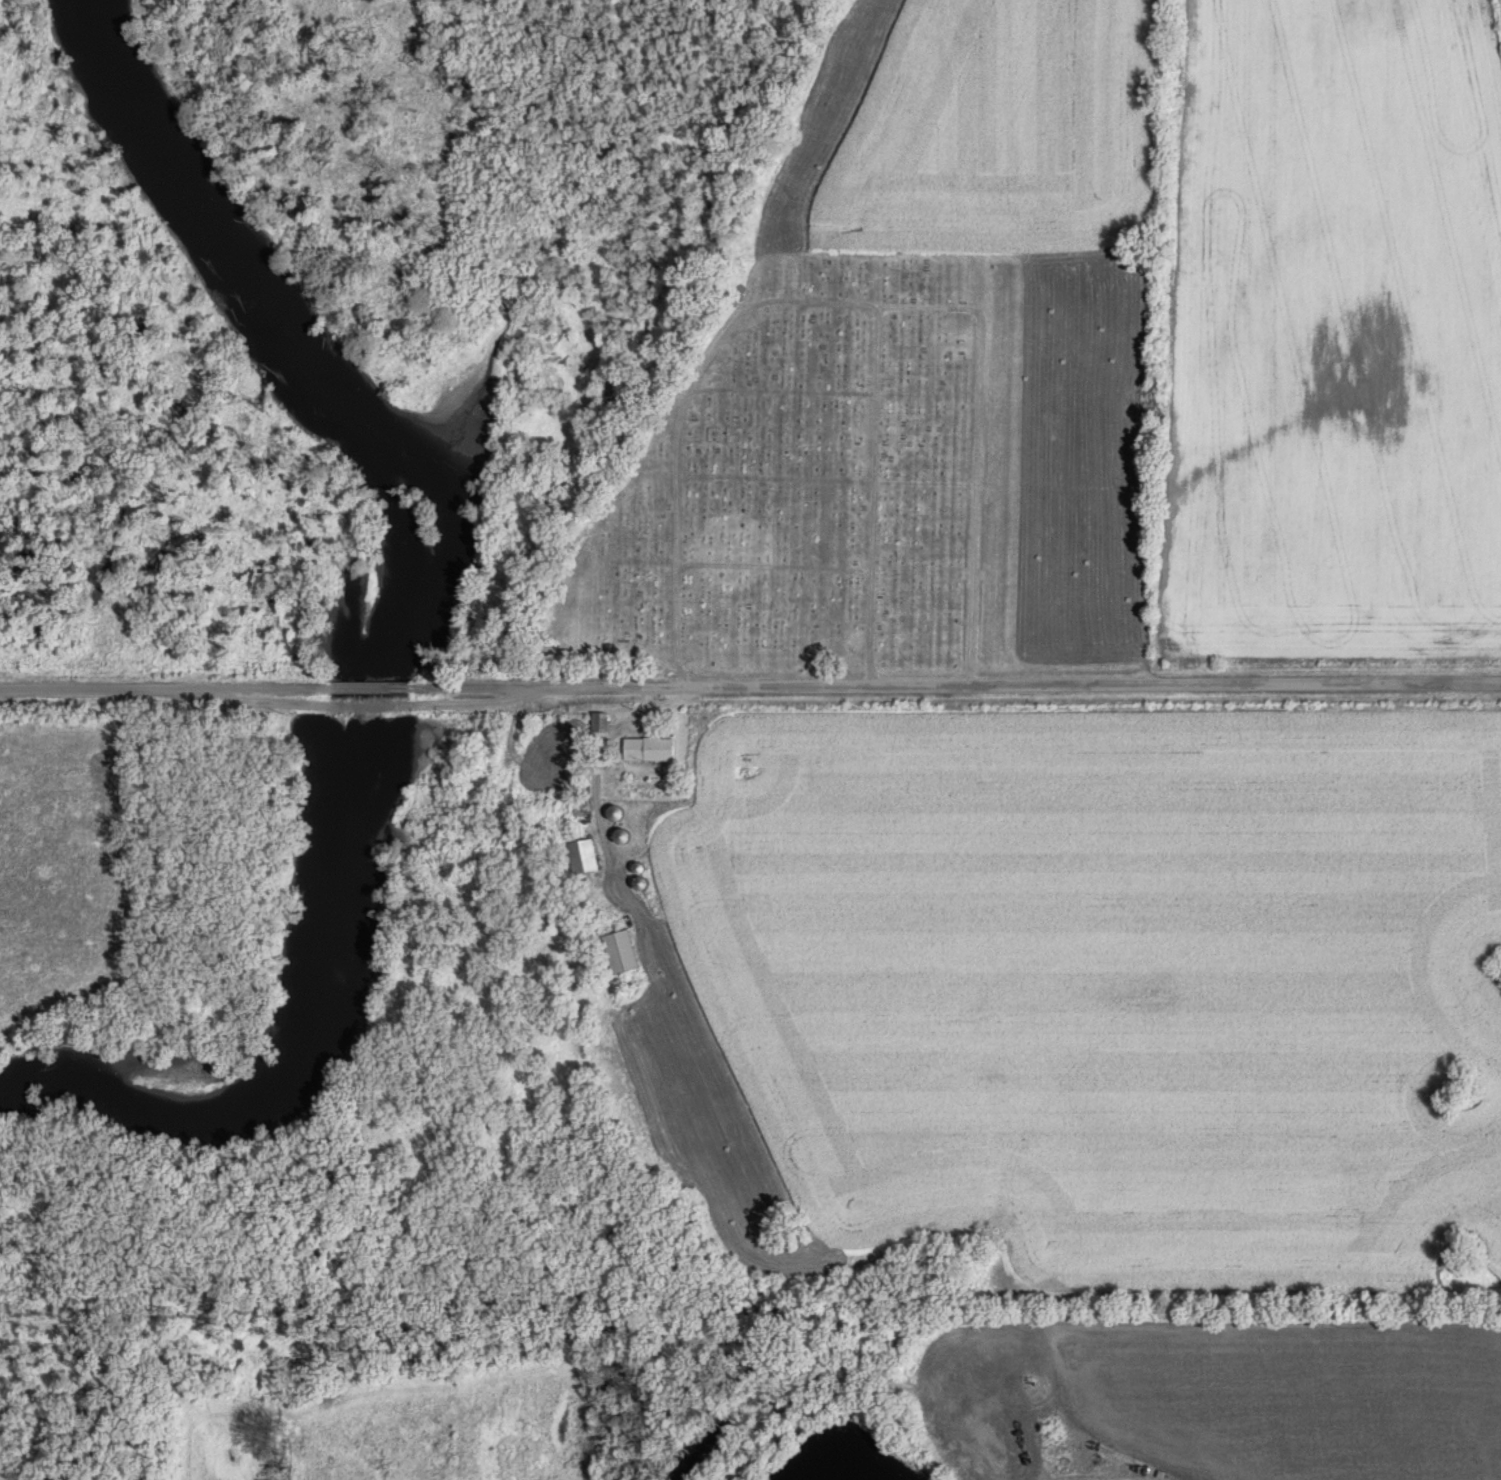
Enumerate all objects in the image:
road: (807, 302)
road: (976, 451)
road: (777, 481)
park: (820, 482)
road: (157, 686)
road: (370, 687)
road: (963, 688)
building: (597, 721)
building: (647, 748)
road: (599, 796)
building: (612, 812)
building: (618, 835)
building: (580, 855)
building: (617, 951)

